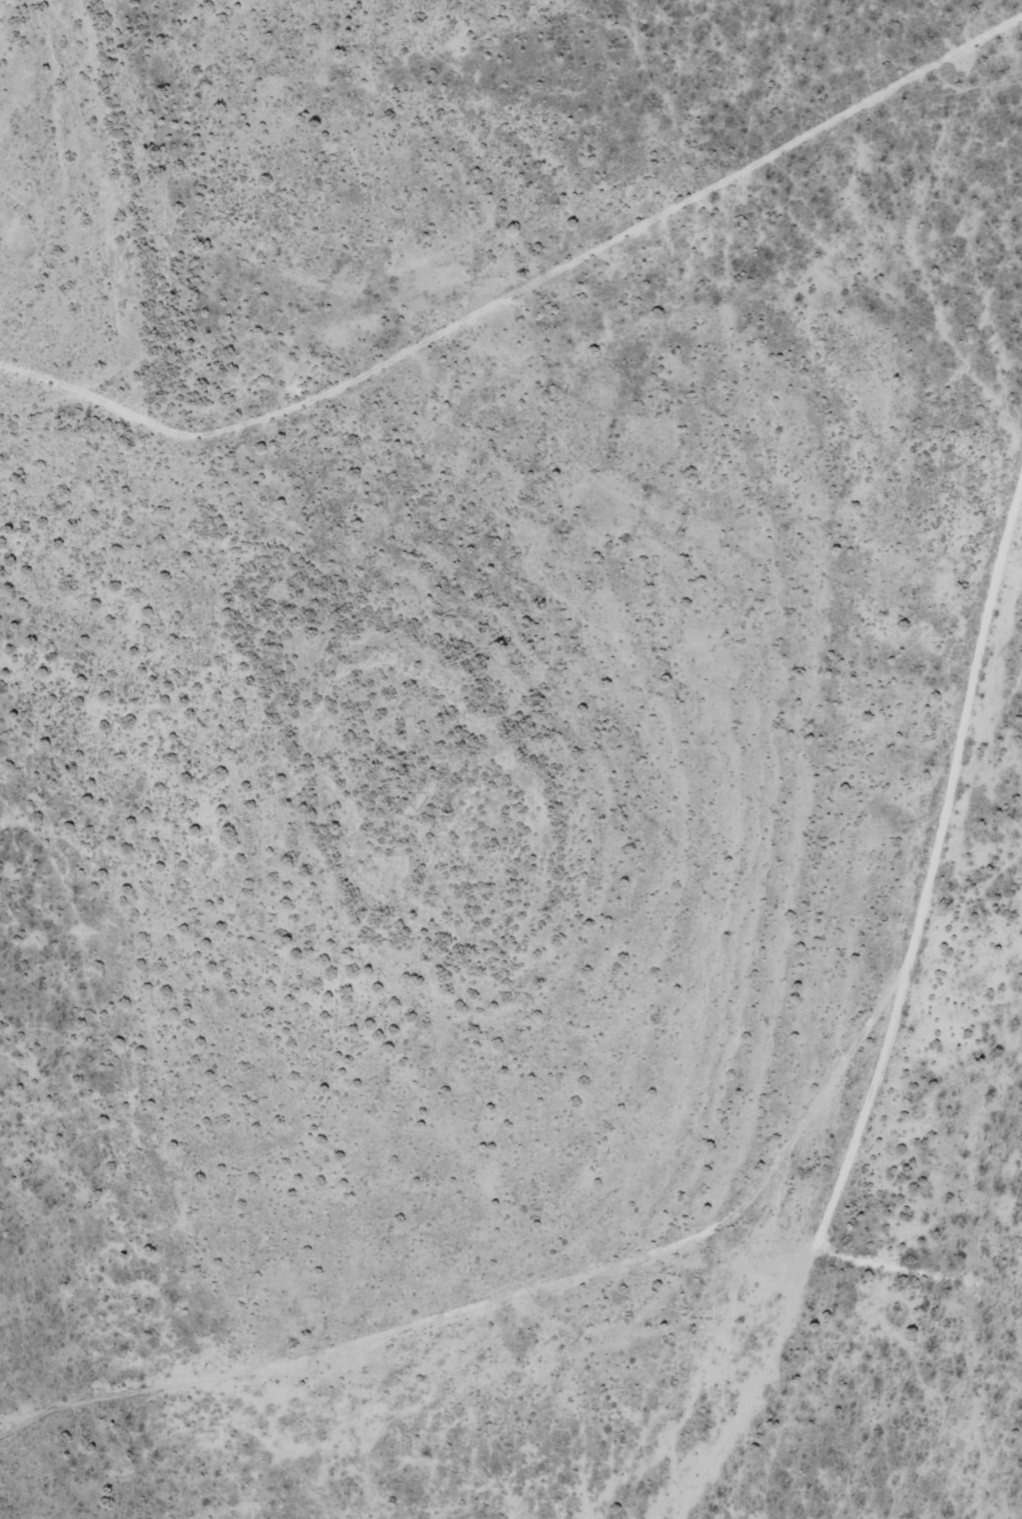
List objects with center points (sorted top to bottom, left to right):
road: (906, 1015)
road: (481, 1287)

